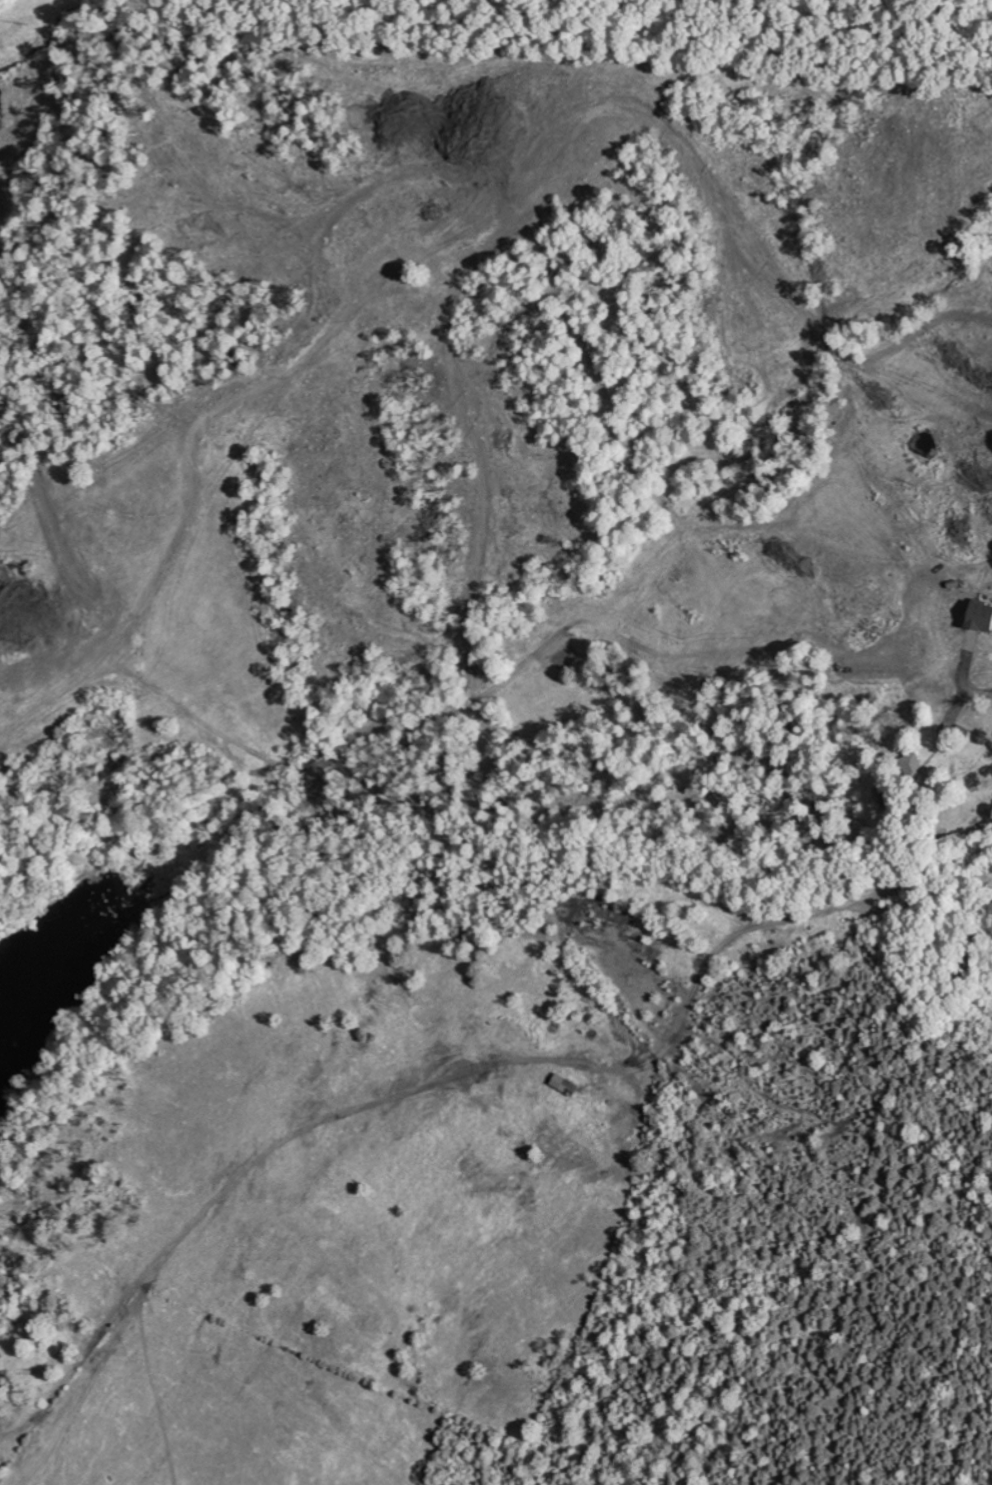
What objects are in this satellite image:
building: (978, 617)
building: (562, 1085)

